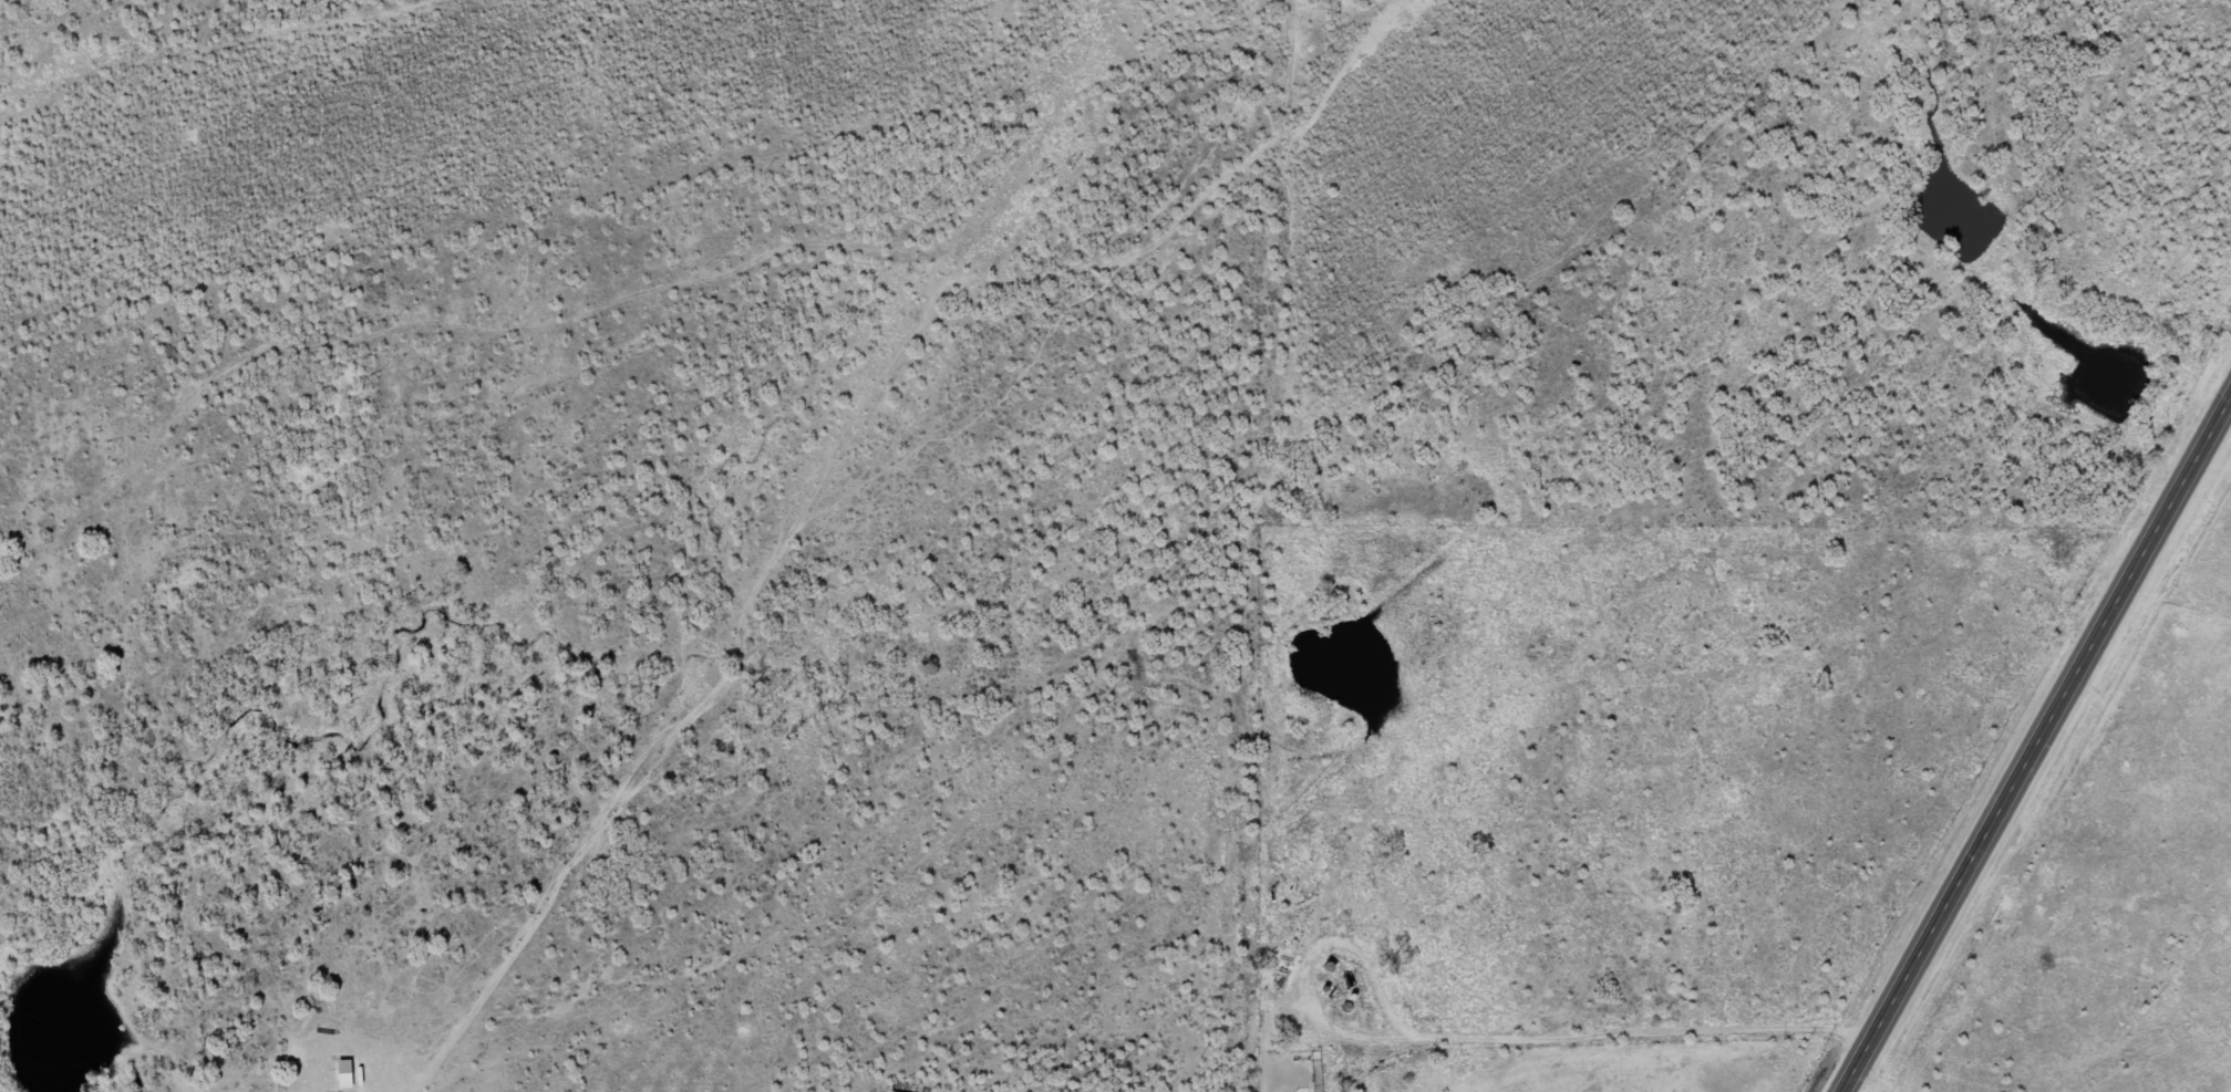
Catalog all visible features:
road: (775, 300)
road: (1260, 305)
road: (1129, 706)
road: (2034, 740)
road: (79, 1005)
road: (1870, 1080)

